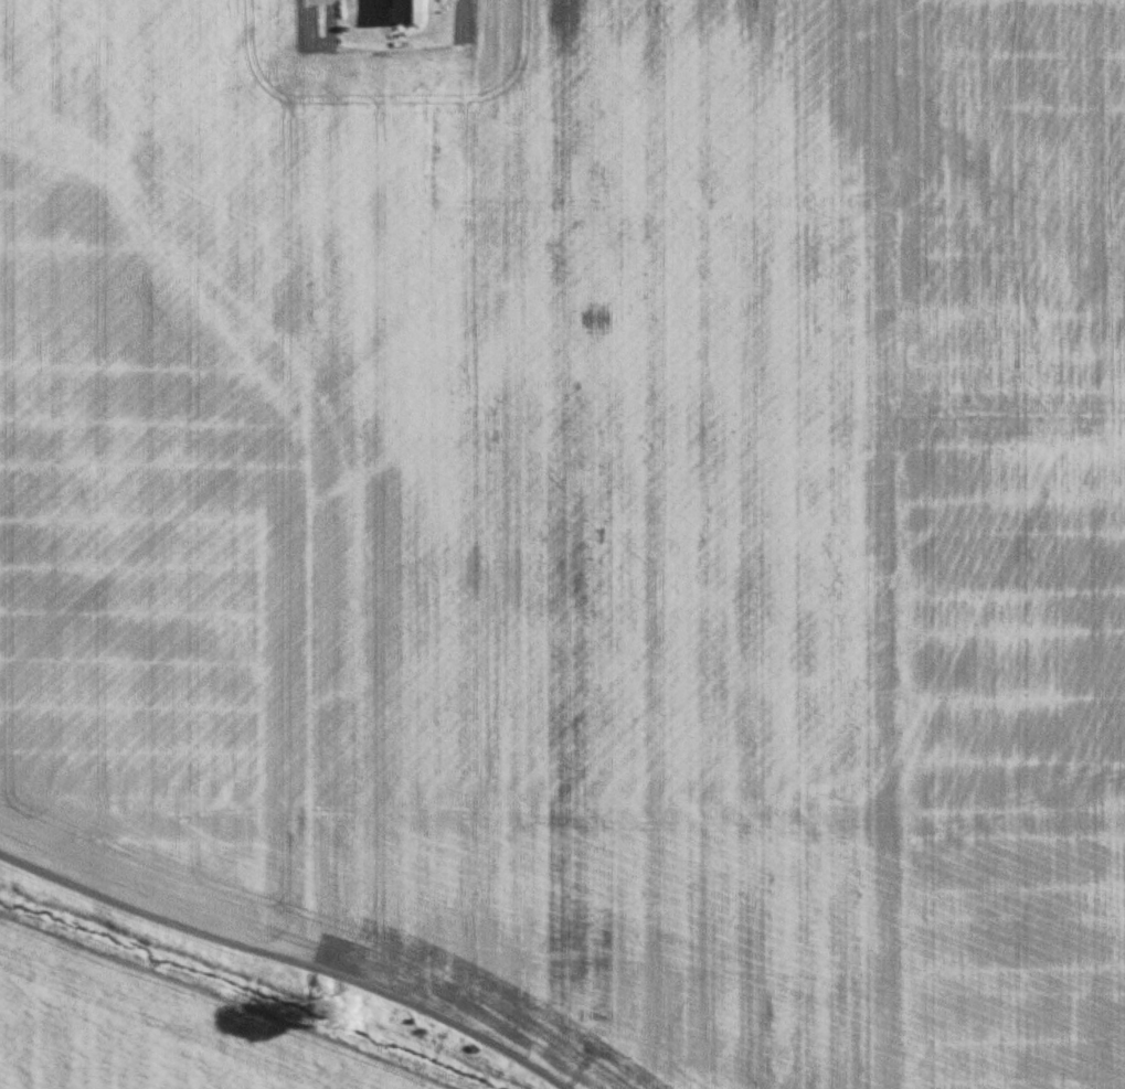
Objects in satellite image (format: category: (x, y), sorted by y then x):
building: (408, 12)

